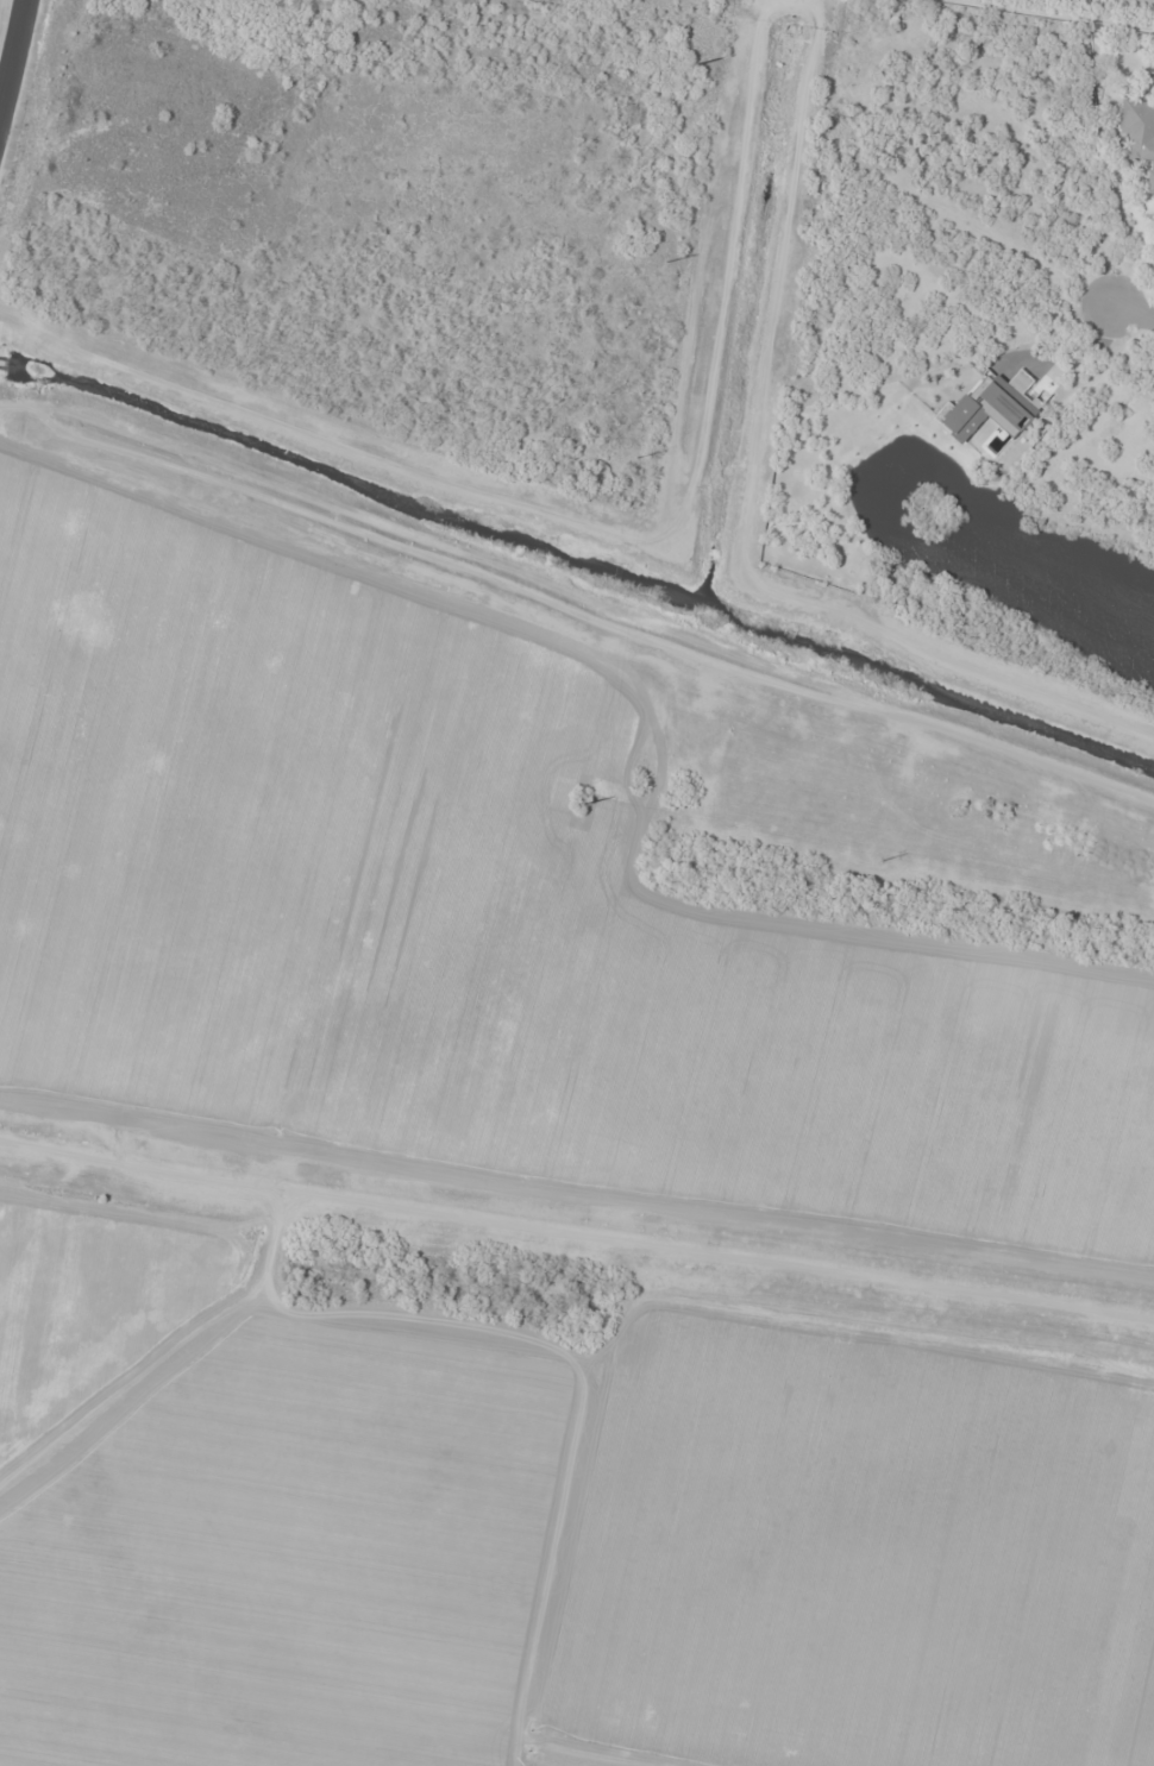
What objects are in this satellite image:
road: (17, 67)
building: (1139, 134)
road: (1133, 304)
river: (997, 559)
river: (577, 564)

